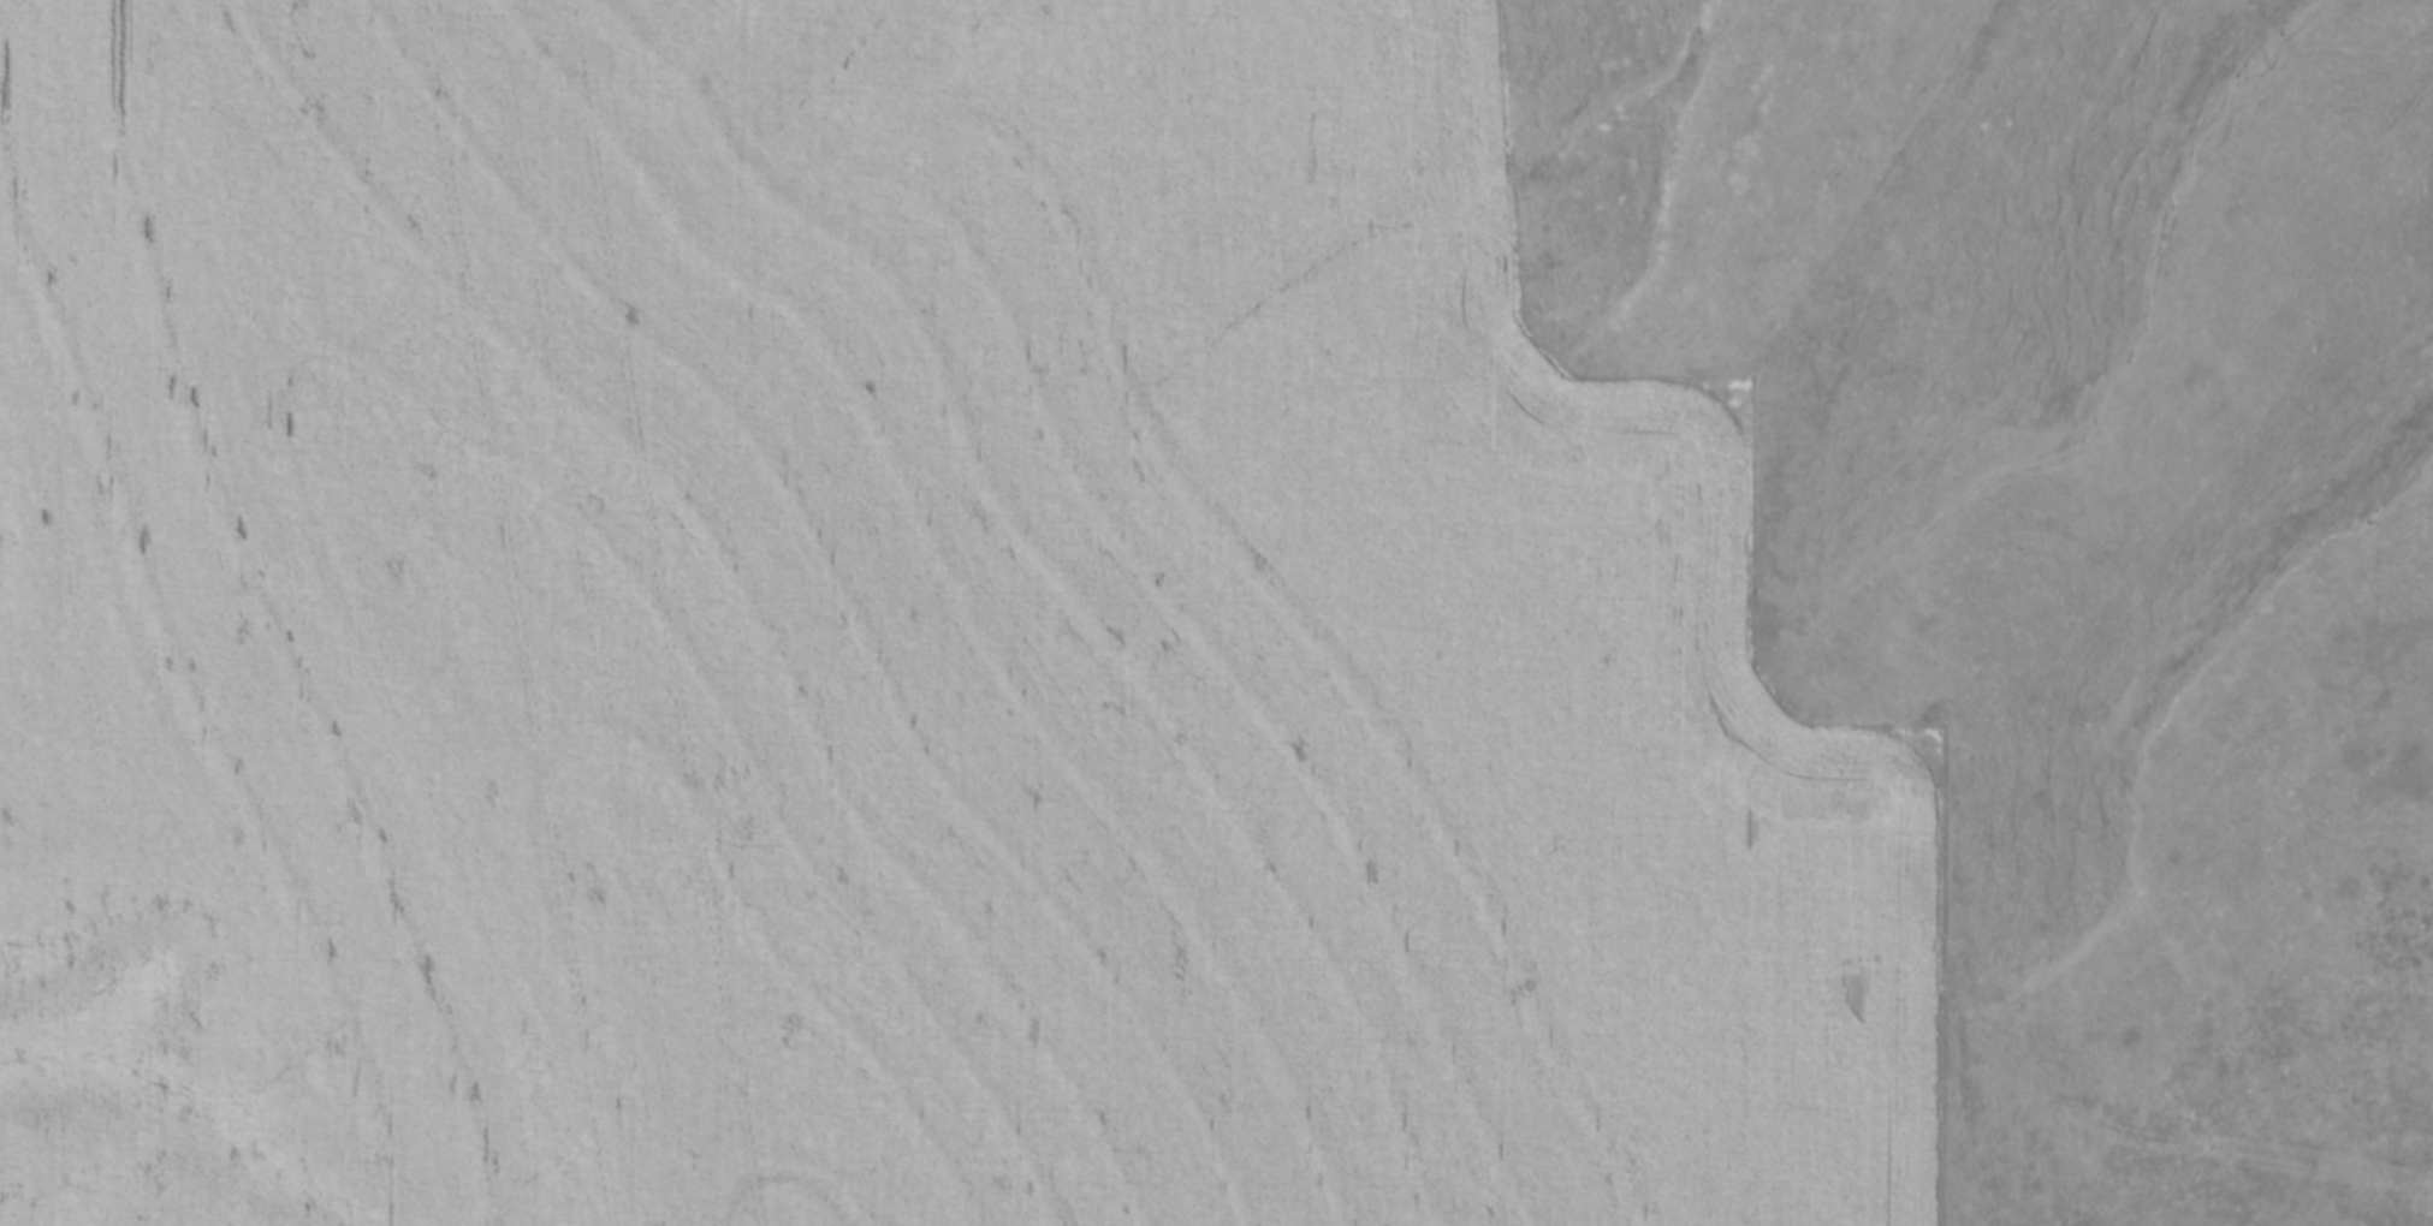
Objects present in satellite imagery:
crop: (883, 647)

